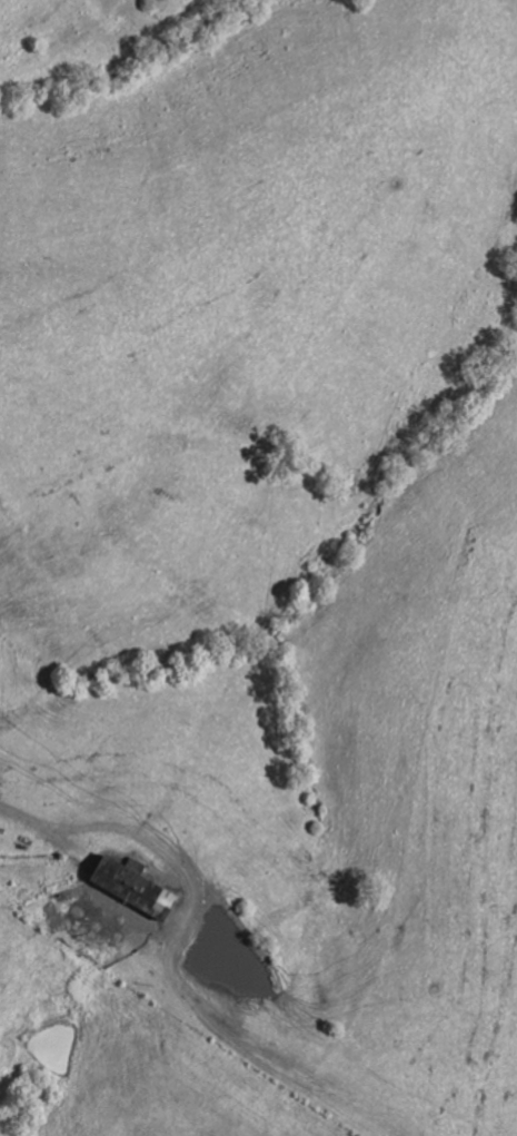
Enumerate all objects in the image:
road: (100, 826)
building: (143, 889)

